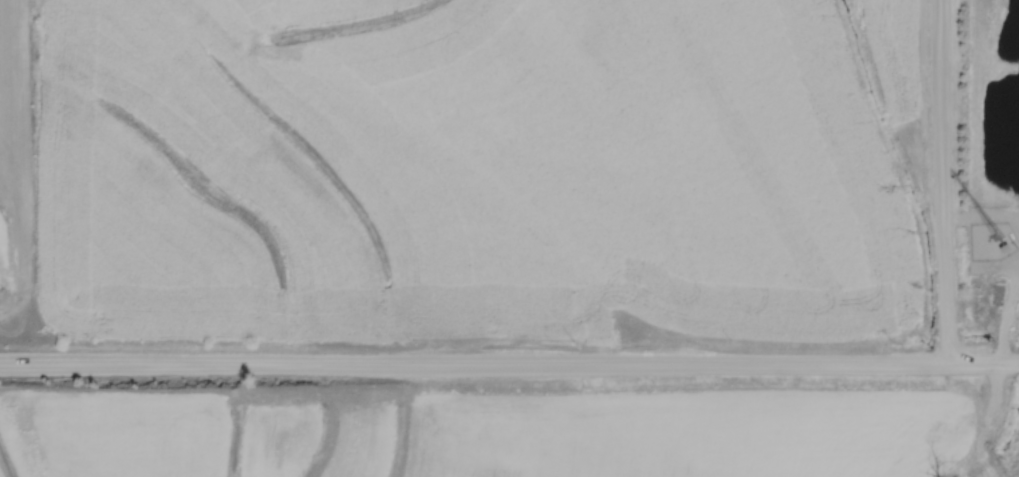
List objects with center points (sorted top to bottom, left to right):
road: (942, 184)
road: (509, 368)

